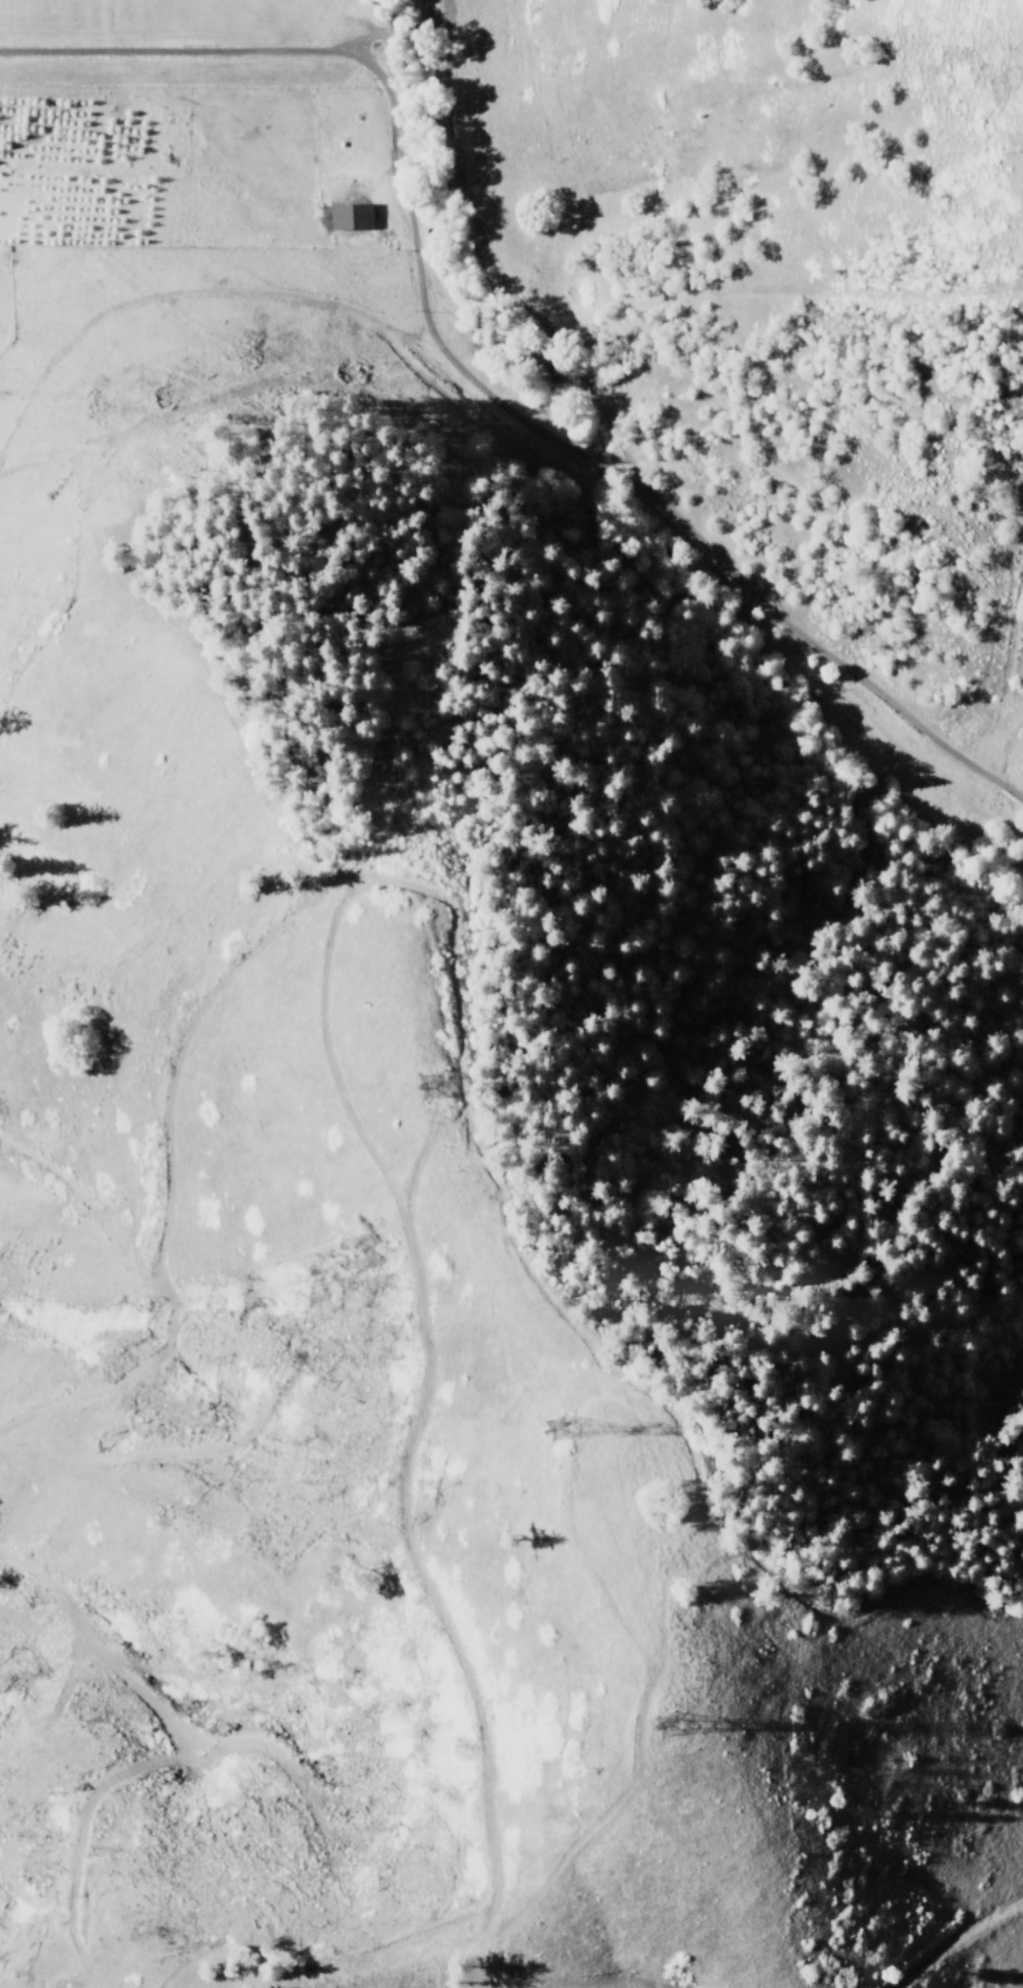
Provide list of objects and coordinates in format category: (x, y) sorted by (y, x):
road: (404, 121)
building: (351, 216)
road: (801, 644)
power tower: (431, 1085)
power tower: (556, 1429)
power tower: (660, 1726)

